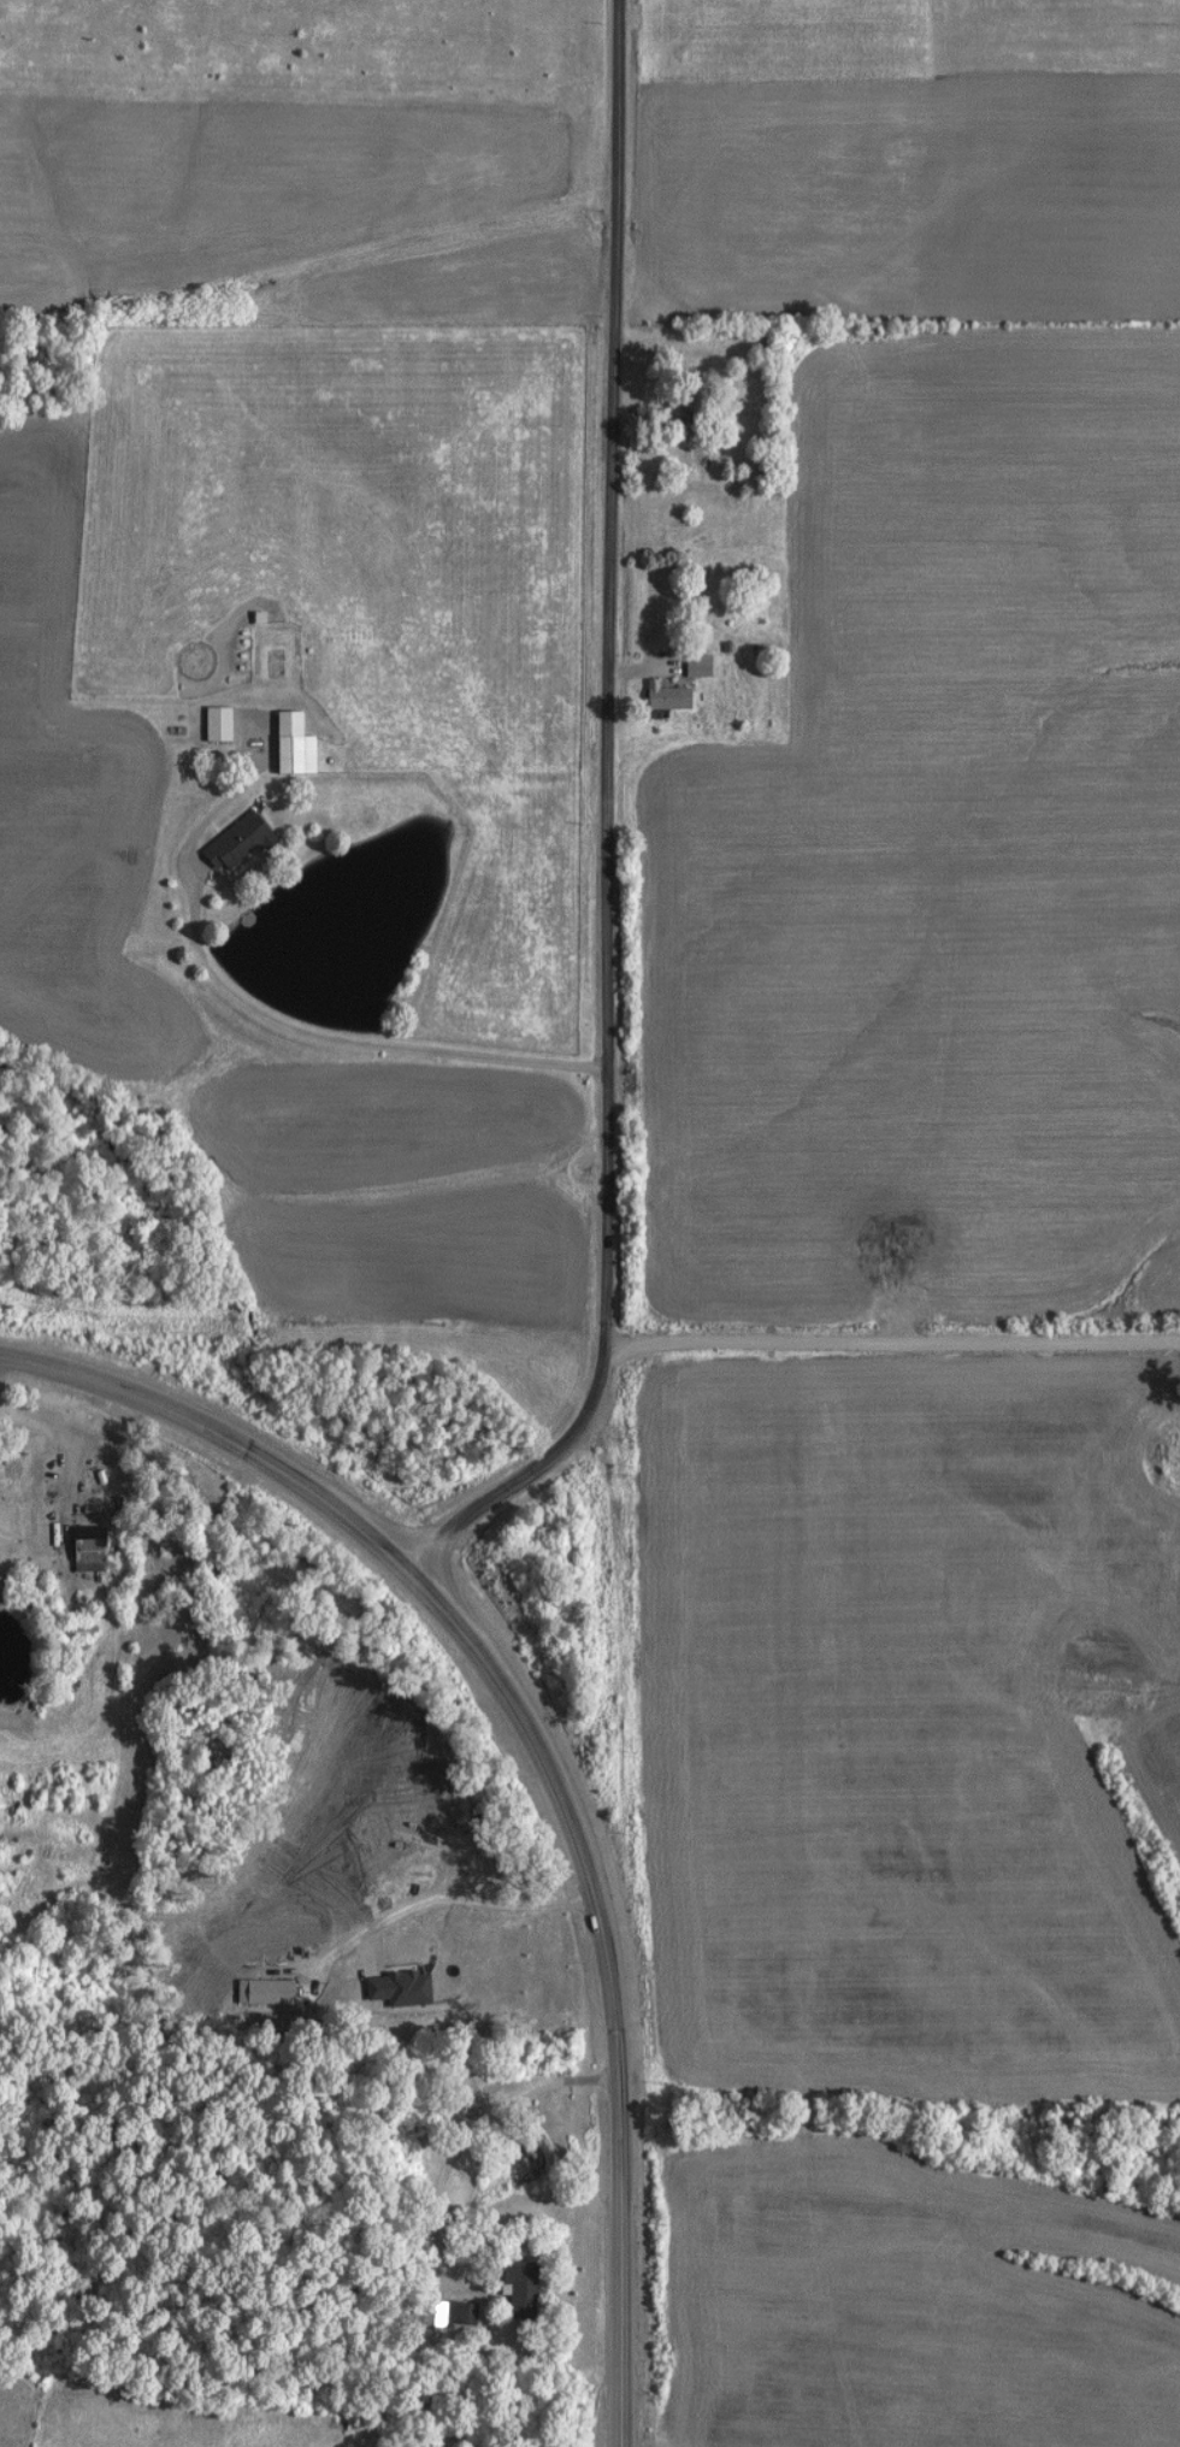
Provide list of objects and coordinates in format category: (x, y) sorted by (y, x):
building: (666, 542)
building: (690, 666)
road: (604, 673)
building: (659, 697)
building: (210, 725)
building: (284, 745)
building: (231, 844)
road: (352, 1039)
road: (893, 1348)
road: (60, 1440)
road: (529, 1475)
road: (372, 1541)
building: (79, 1550)
road: (461, 1906)
road: (461, 2145)
road: (614, 2170)
building: (511, 2289)

